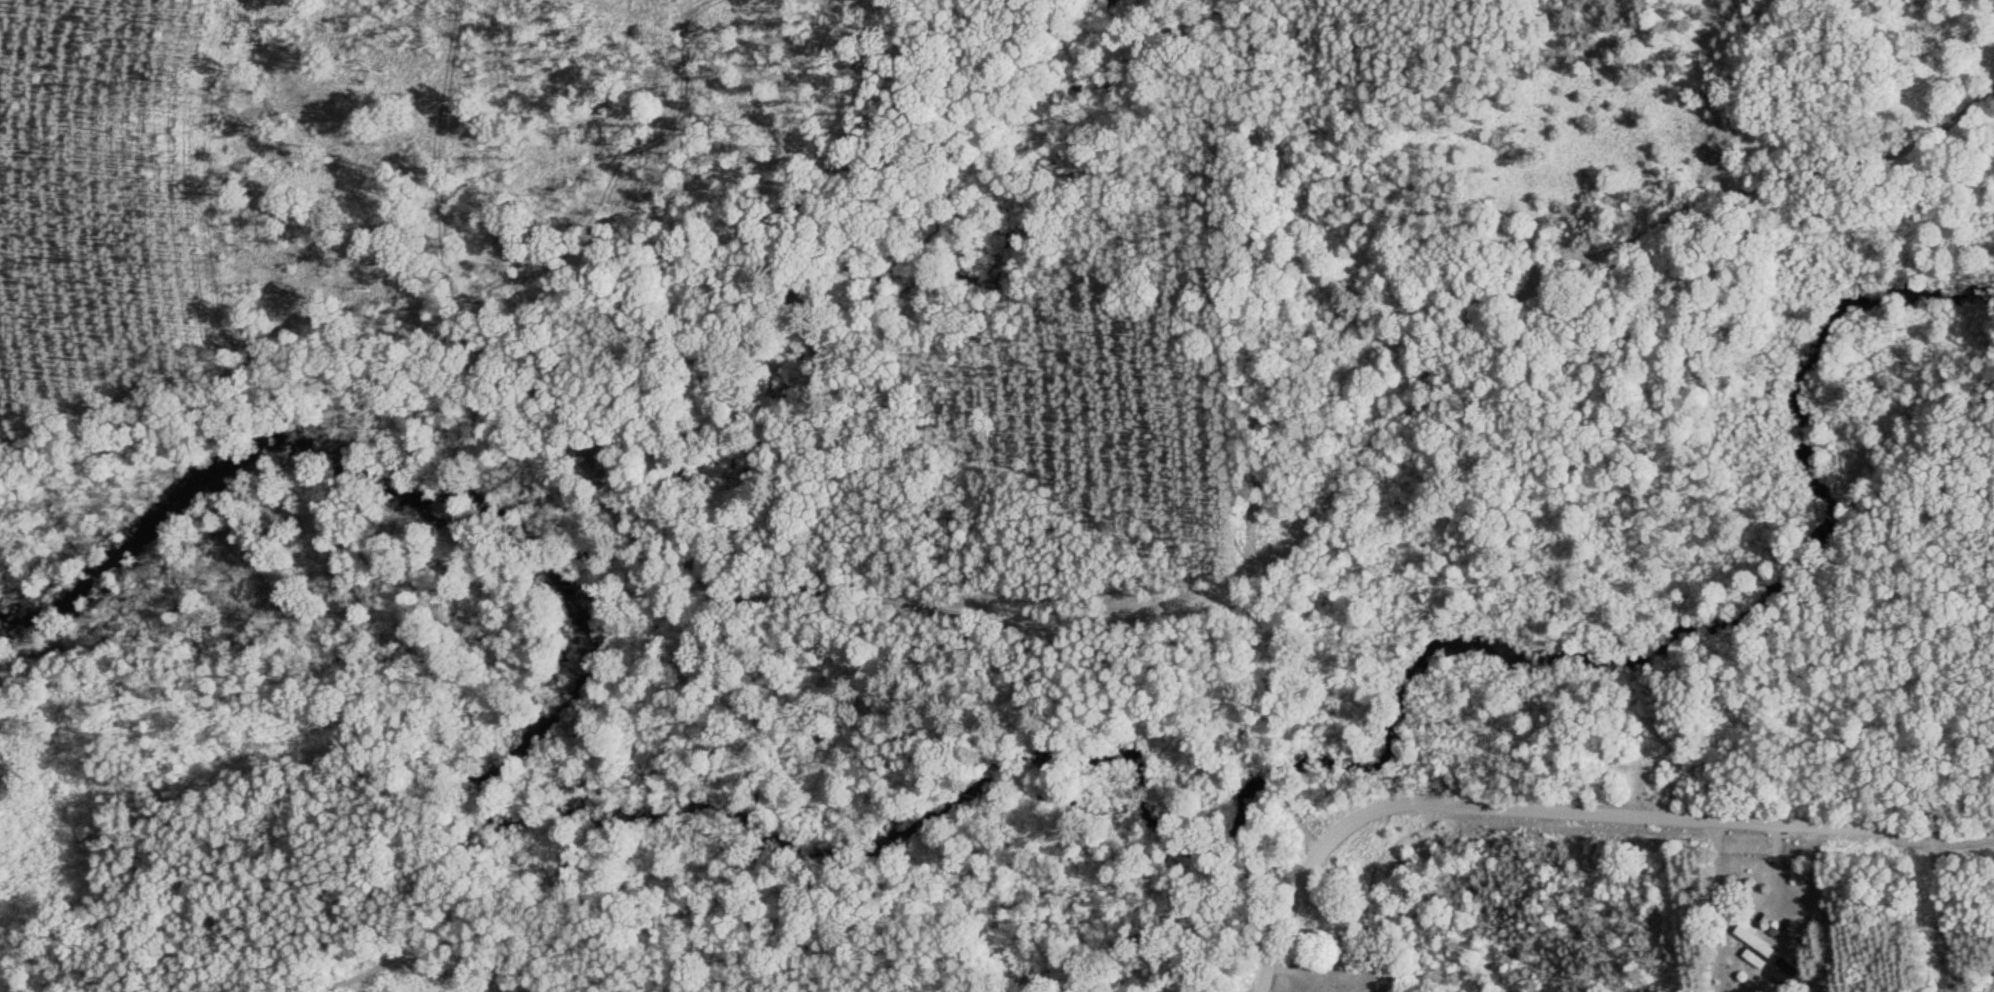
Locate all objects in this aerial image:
road: (1689, 816)
road: (1299, 880)

